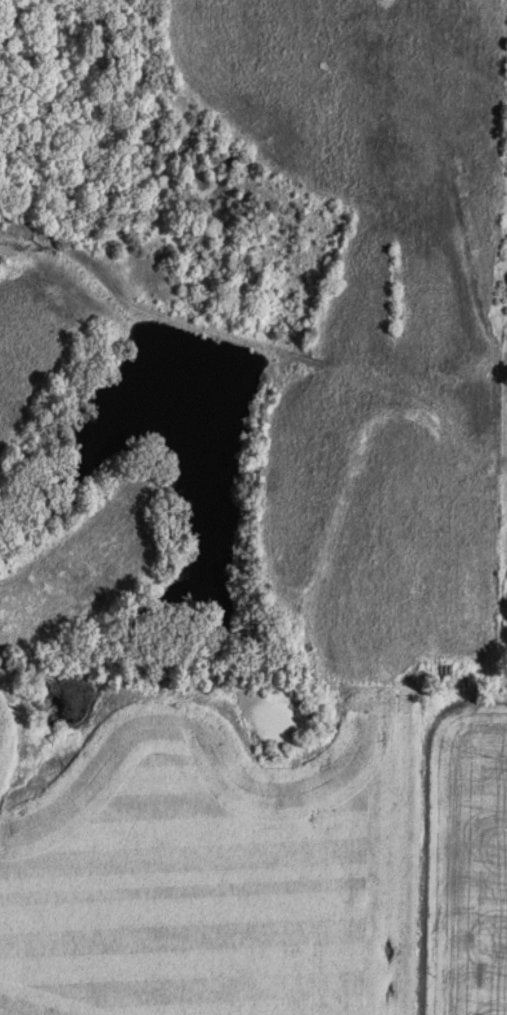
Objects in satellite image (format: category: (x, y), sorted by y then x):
crop: (206, 846)
crop: (462, 859)

